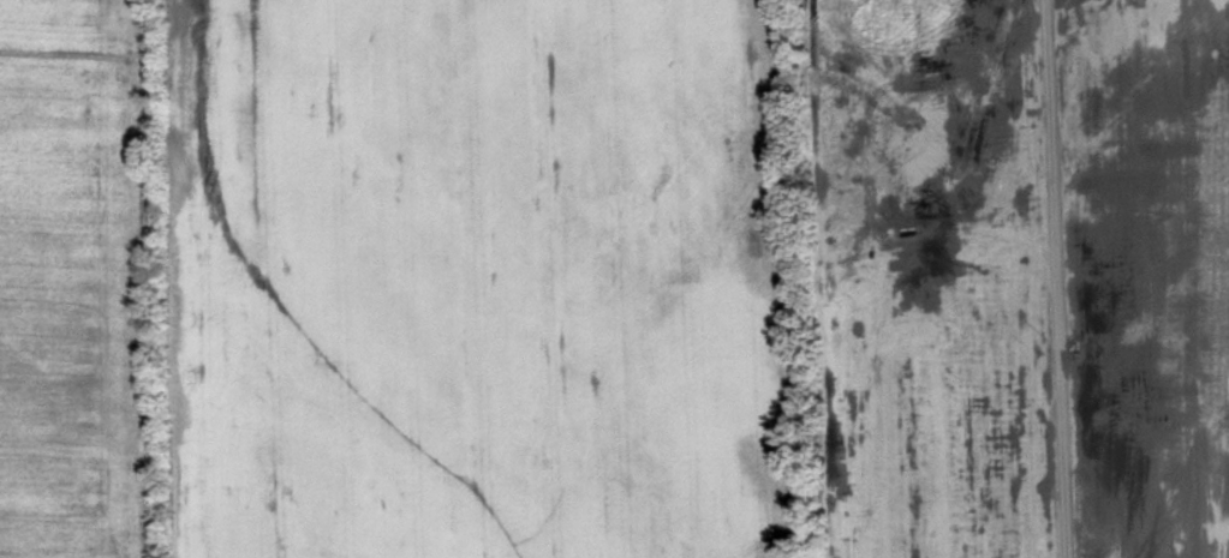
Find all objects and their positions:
road: (1056, 278)

